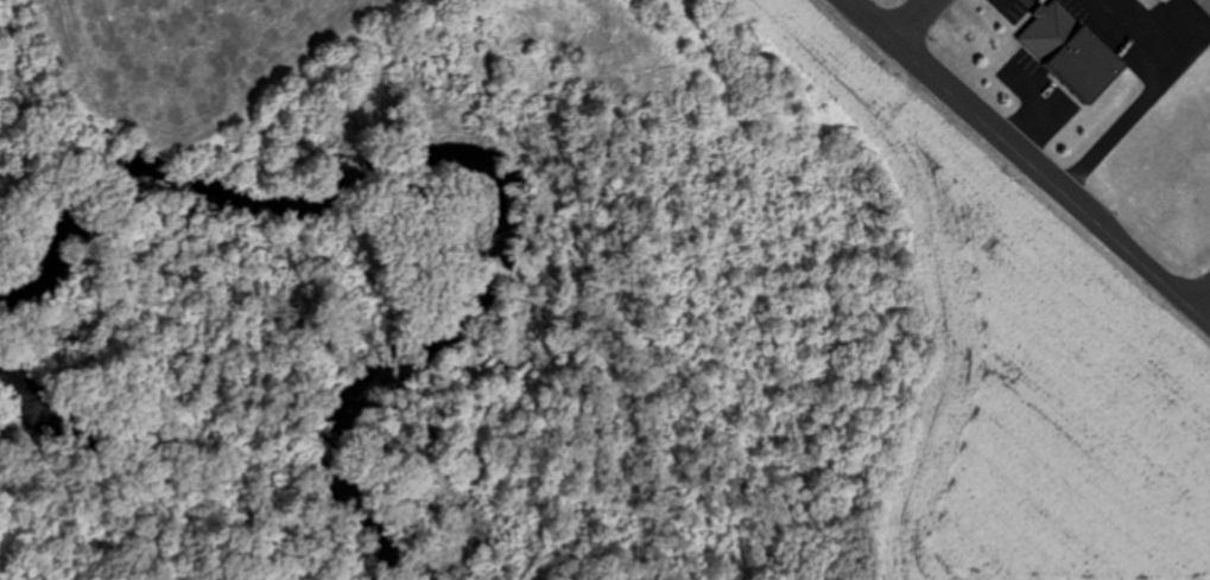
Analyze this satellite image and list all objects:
building: (1164, 0)
road: (911, 21)
building: (1085, 64)
road: (1025, 164)
road: (1197, 294)

